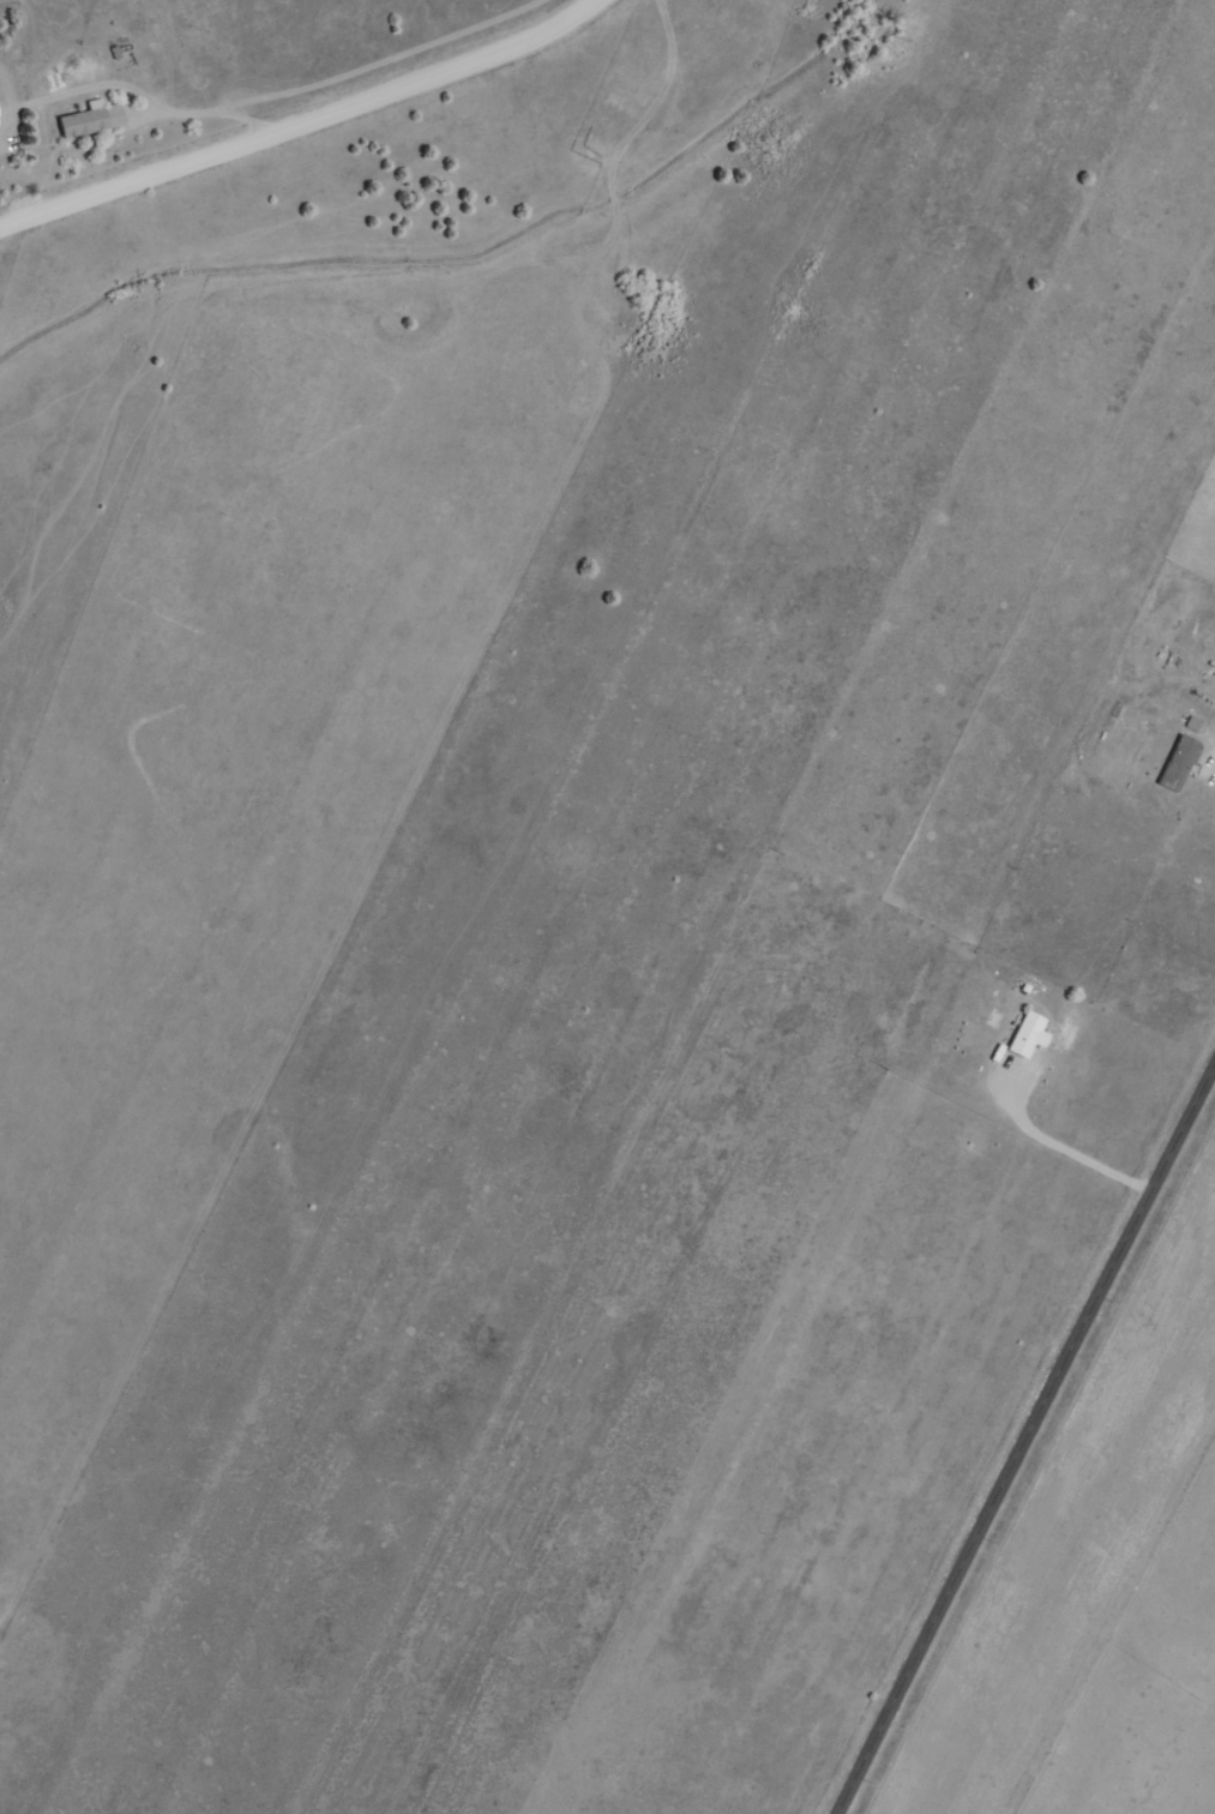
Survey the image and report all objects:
building: (96, 121)
road: (295, 142)
road: (61, 288)
road: (213, 292)
building: (1173, 765)
building: (1022, 1037)
road: (1025, 1436)

